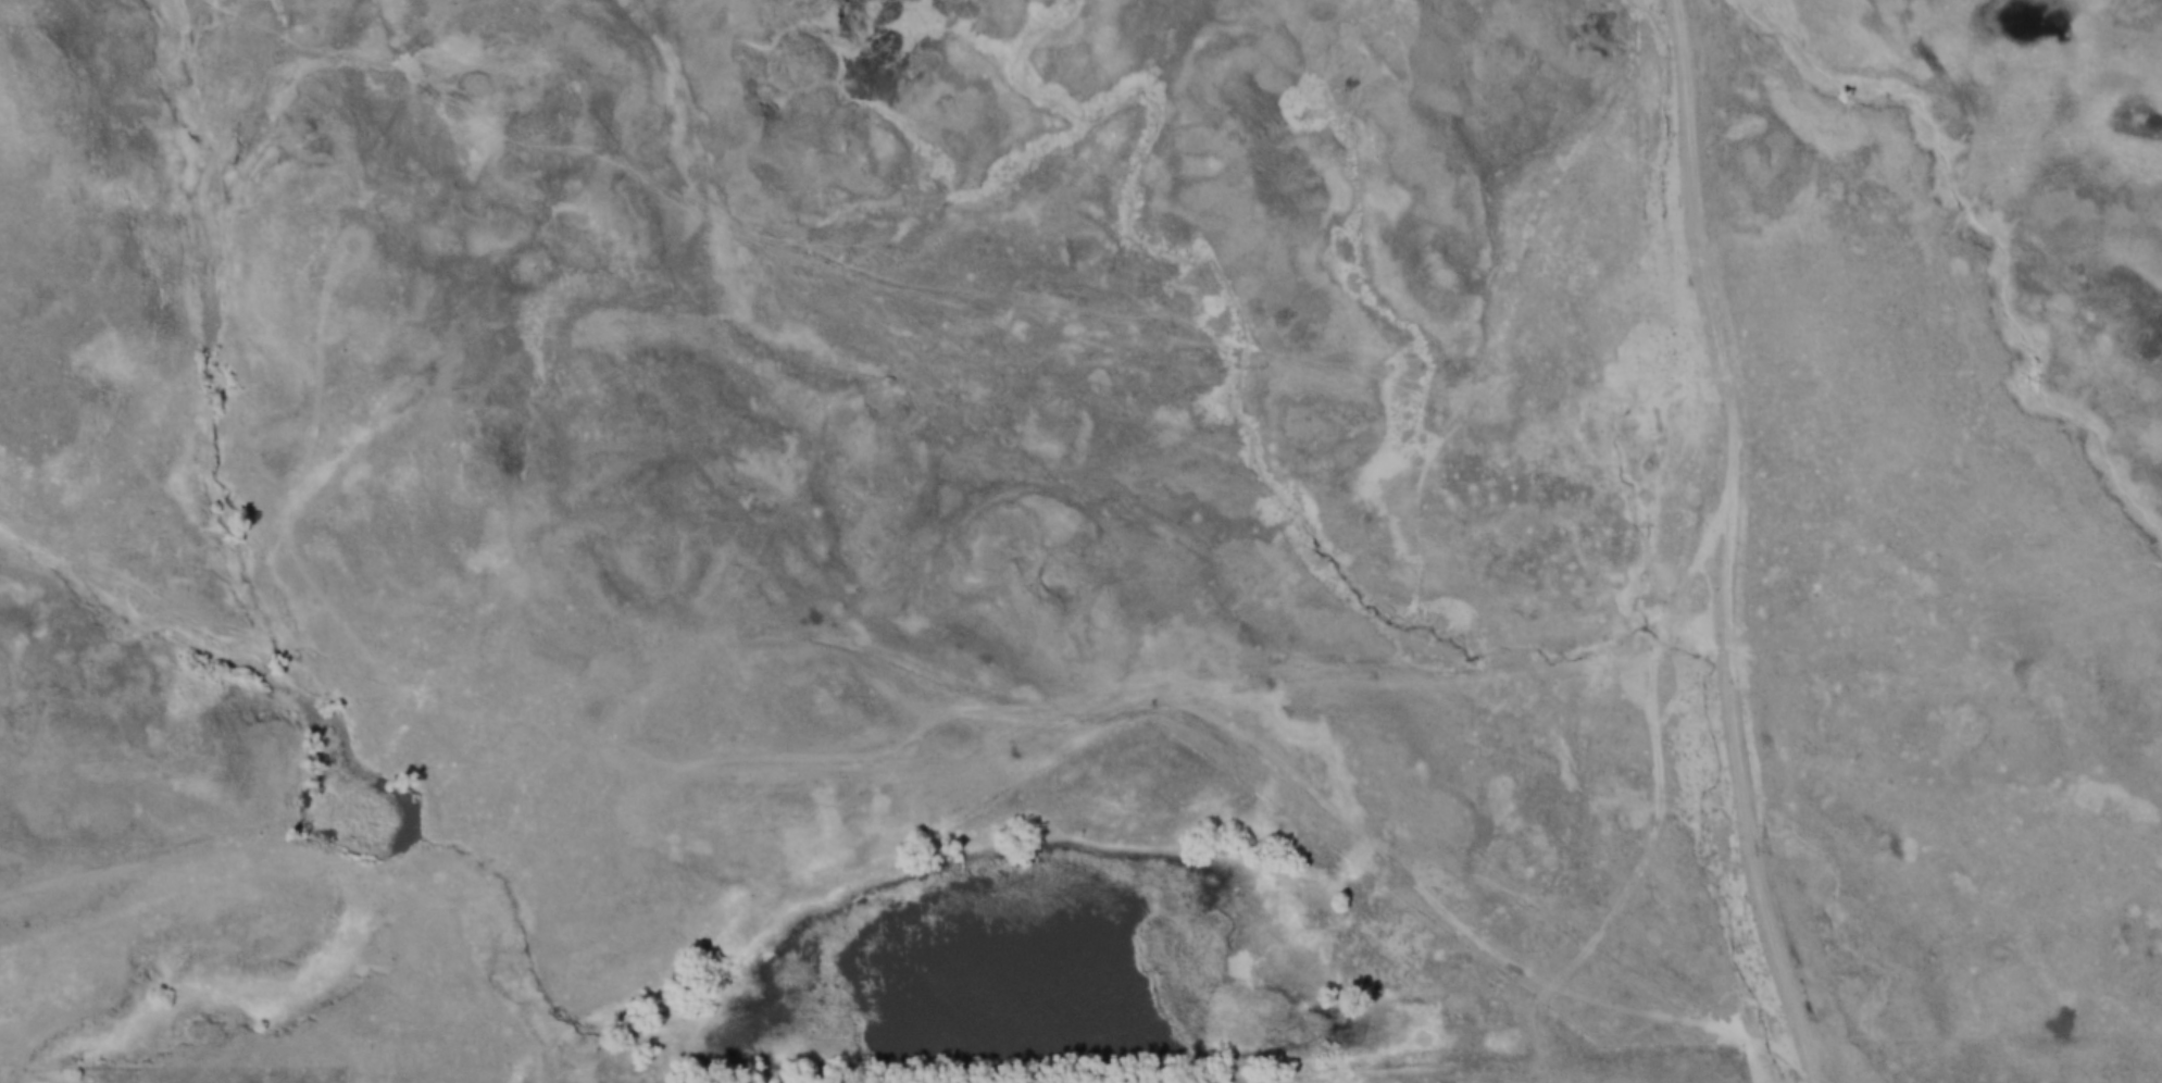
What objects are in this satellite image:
road: (1738, 544)
road: (323, 855)
dam: (336, 858)

